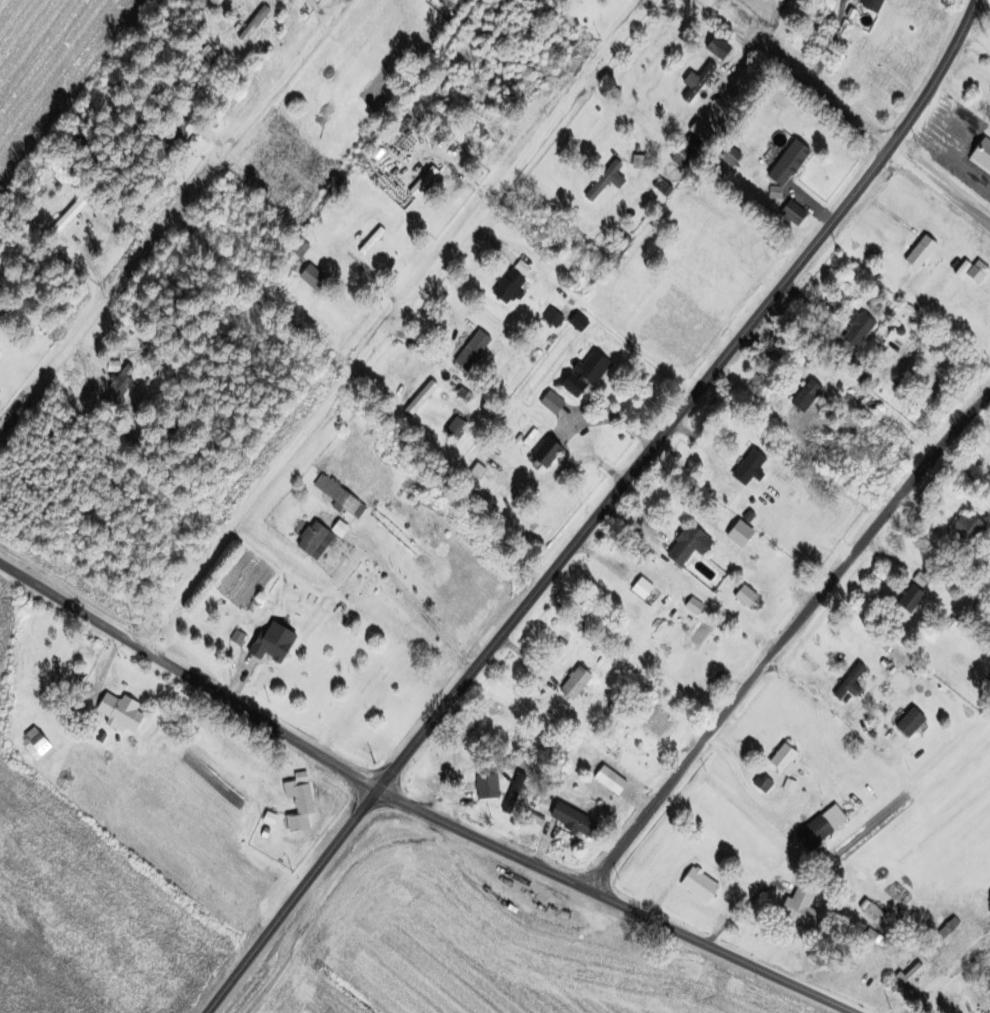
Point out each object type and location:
building: (869, 6)
building: (714, 49)
road: (805, 73)
building: (694, 83)
building: (696, 131)
building: (169, 133)
building: (980, 157)
building: (677, 158)
building: (635, 163)
building: (599, 181)
building: (420, 183)
road: (940, 188)
road: (170, 218)
building: (70, 231)
building: (368, 243)
building: (917, 254)
building: (968, 272)
building: (311, 280)
building: (504, 287)
road: (391, 320)
building: (574, 323)
building: (854, 331)
building: (468, 351)
building: (580, 376)
building: (116, 384)
building: (460, 390)
building: (802, 396)
building: (548, 403)
building: (452, 430)
building: (544, 456)
building: (745, 469)
building: (336, 497)
road: (600, 511)
building: (963, 532)
building: (735, 535)
building: (315, 541)
building: (684, 547)
building: (909, 594)
building: (742, 598)
road: (786, 638)
building: (269, 643)
building: (847, 683)
building: (573, 684)
building: (116, 712)
building: (906, 722)
building: (33, 744)
building: (912, 757)
building: (782, 758)
building: (760, 784)
building: (483, 786)
building: (512, 792)
building: (295, 802)
road: (416, 808)
building: (569, 820)
building: (526, 823)
building: (811, 832)
building: (696, 885)
building: (799, 909)
building: (870, 912)
building: (911, 972)
road: (944, 978)

